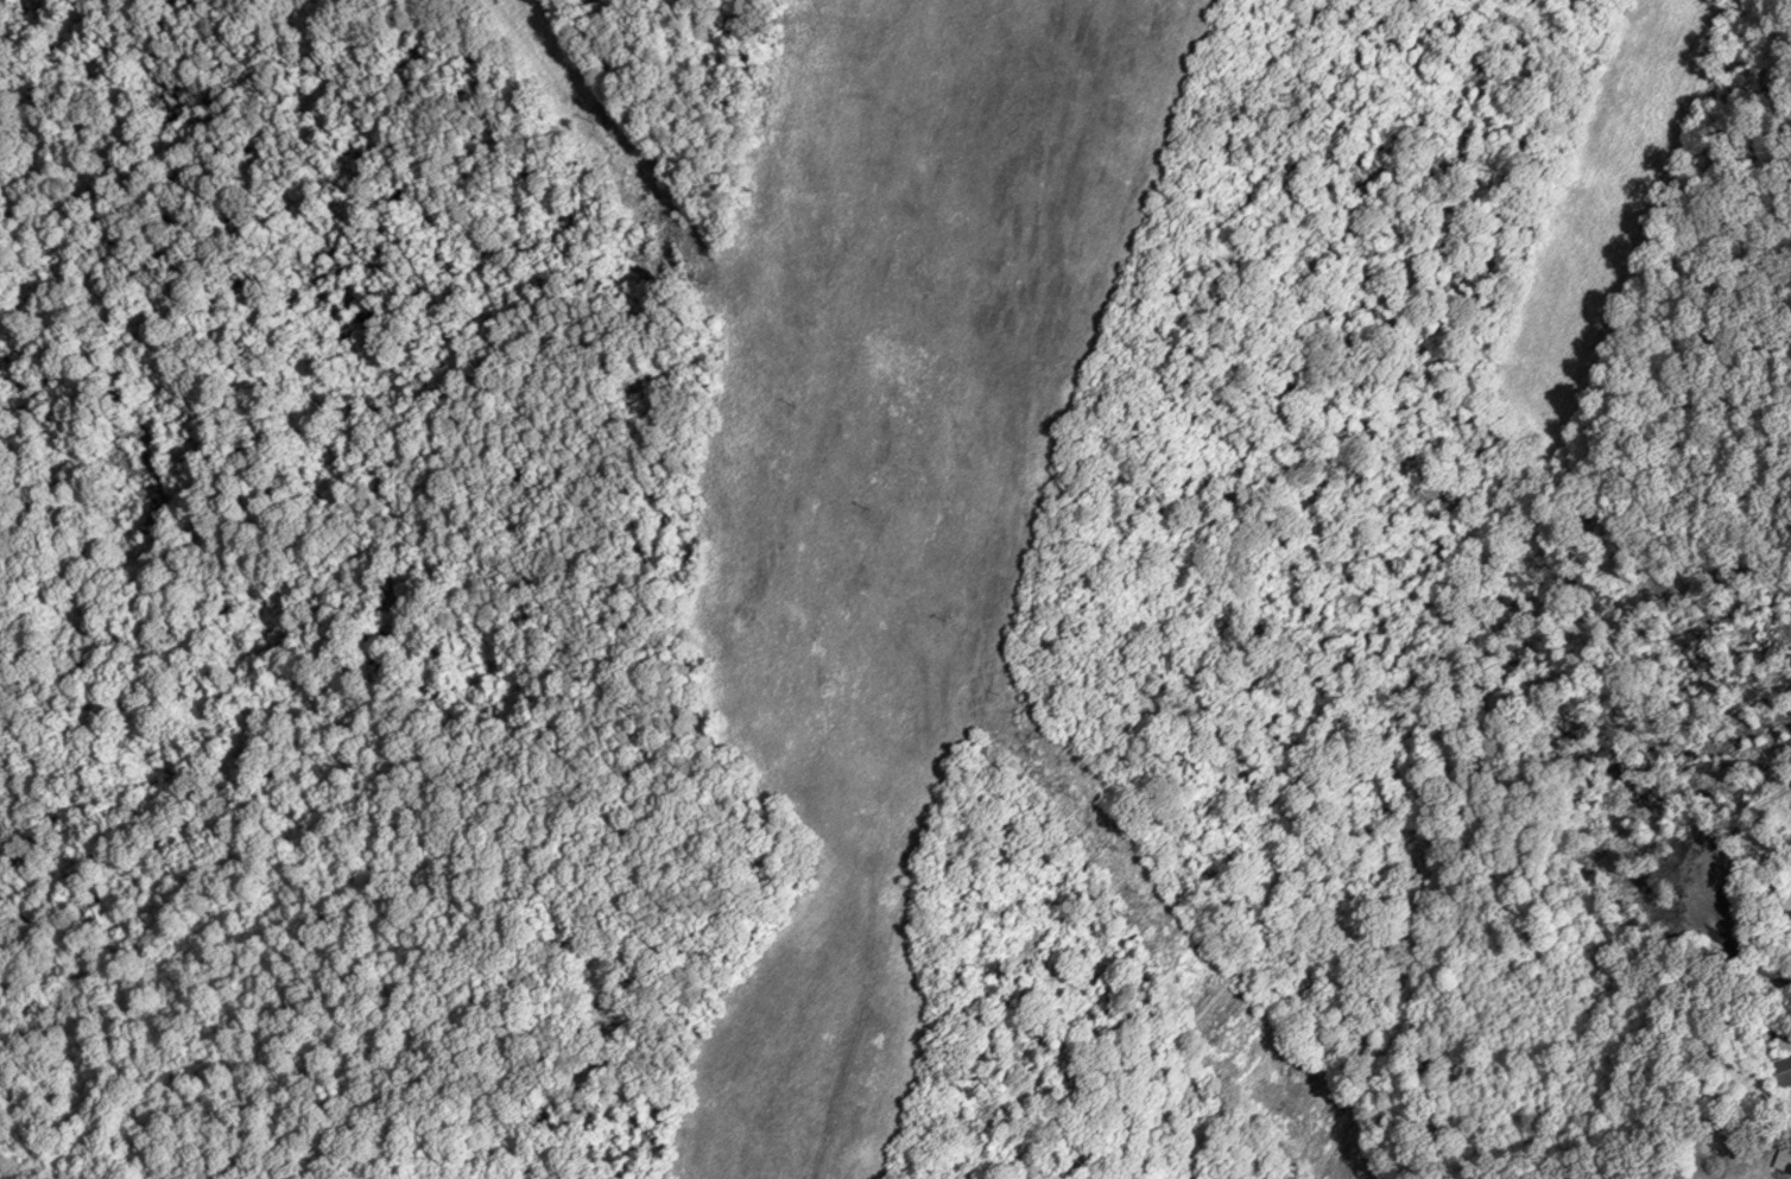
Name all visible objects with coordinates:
road: (1632, 286)
road: (1418, 990)
building: (1781, 1071)
building: (1783, 1161)

